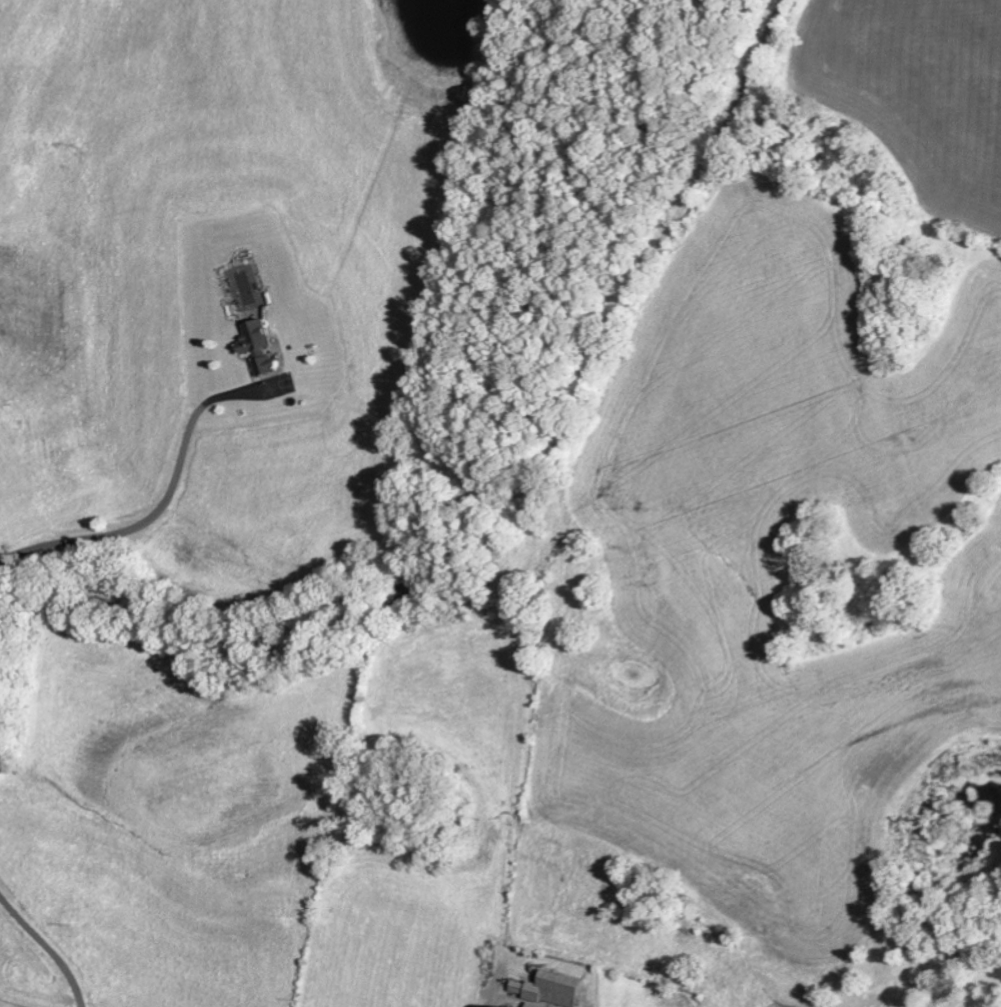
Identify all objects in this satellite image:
building: (259, 339)
building: (268, 365)
road: (162, 505)
road: (49, 945)
building: (554, 988)
building: (539, 1005)

